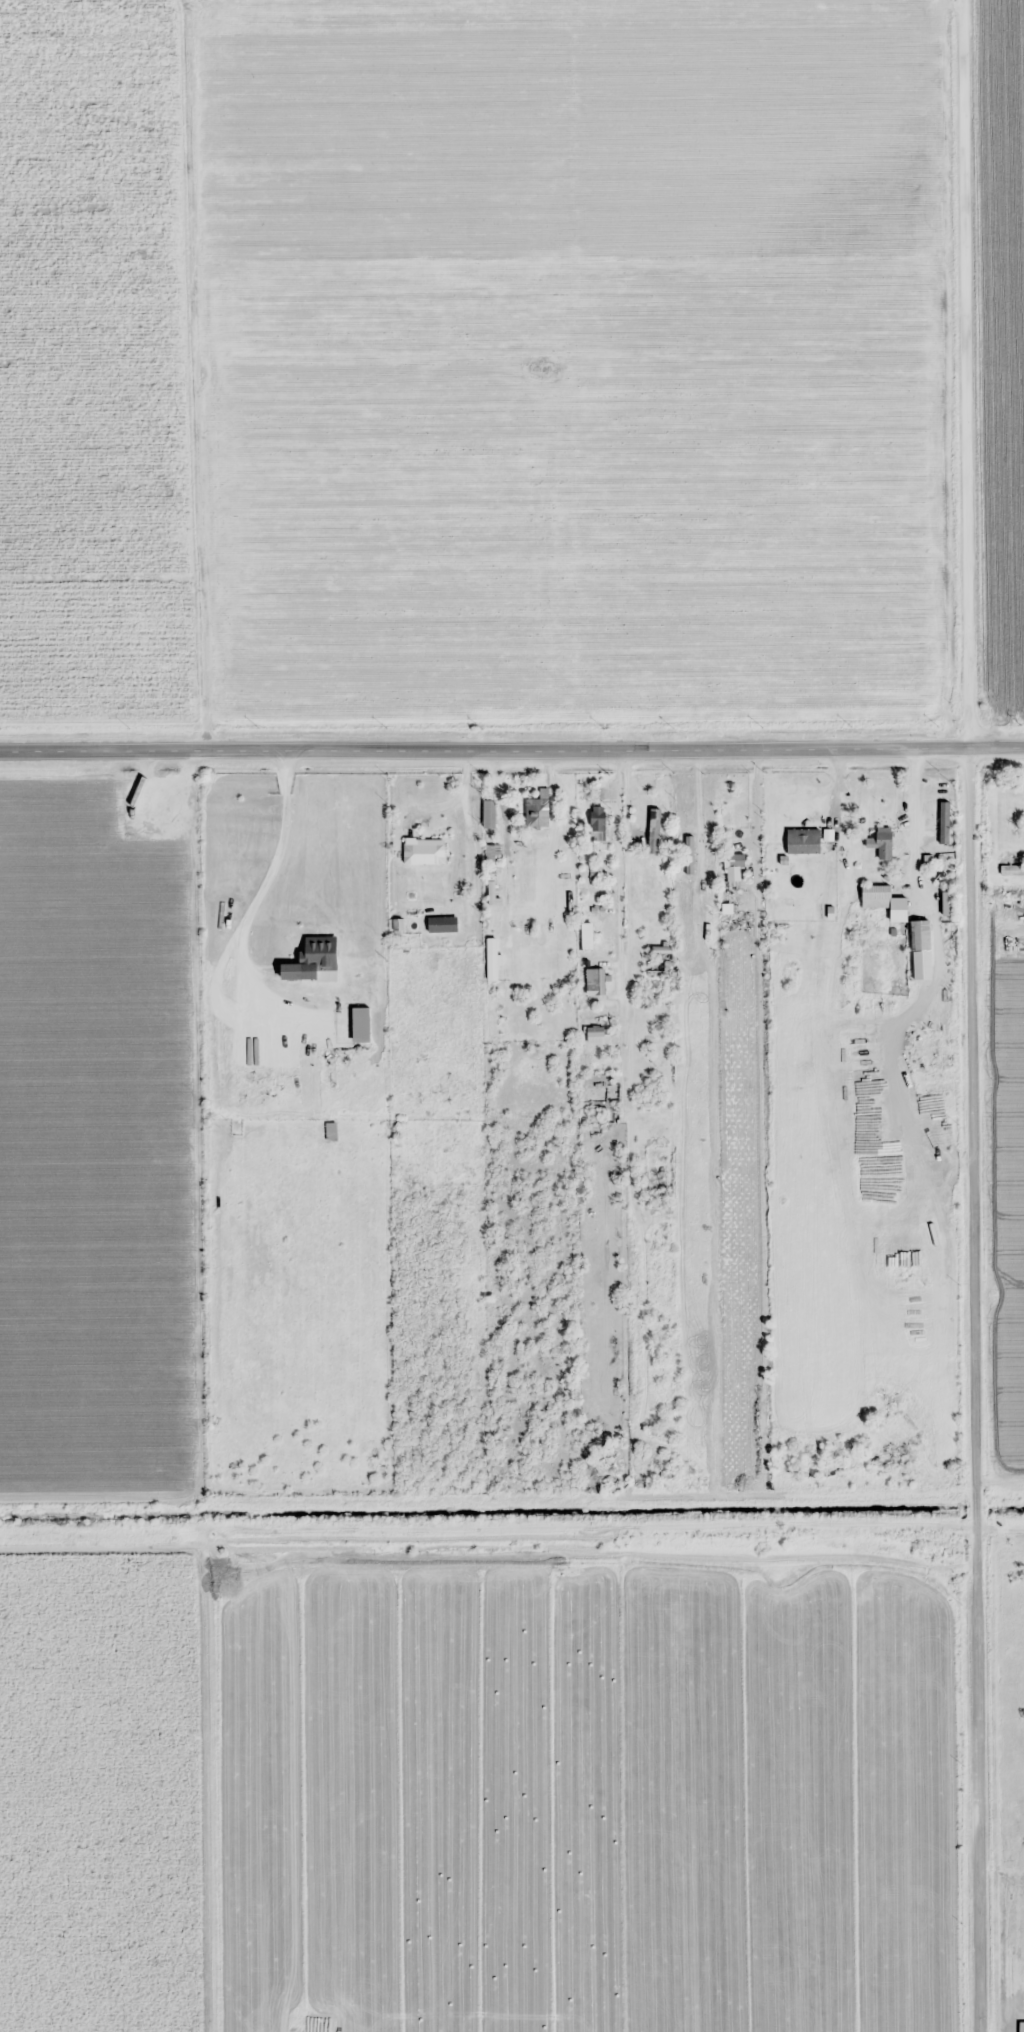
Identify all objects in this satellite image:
road: (511, 743)
building: (537, 812)
building: (489, 813)
building: (599, 819)
building: (803, 840)
building: (882, 843)
building: (424, 851)
building: (689, 855)
building: (734, 867)
building: (1010, 870)
building: (883, 898)
building: (443, 924)
building: (920, 935)
building: (587, 937)
building: (318, 955)
building: (492, 964)
building: (290, 971)
building: (599, 982)
road: (973, 1015)
building: (598, 1035)
building: (396, 1126)
building: (906, 1257)
building: (1021, 2027)

